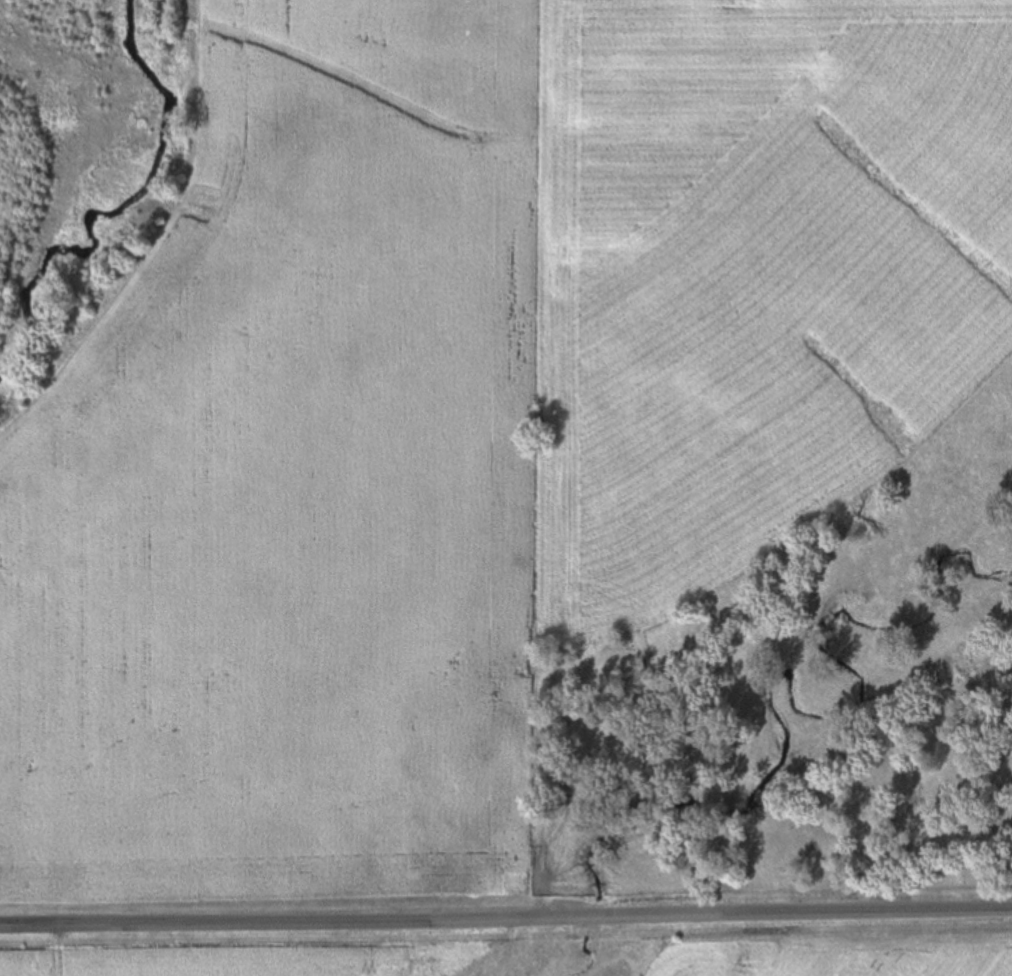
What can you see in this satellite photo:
road: (506, 918)

